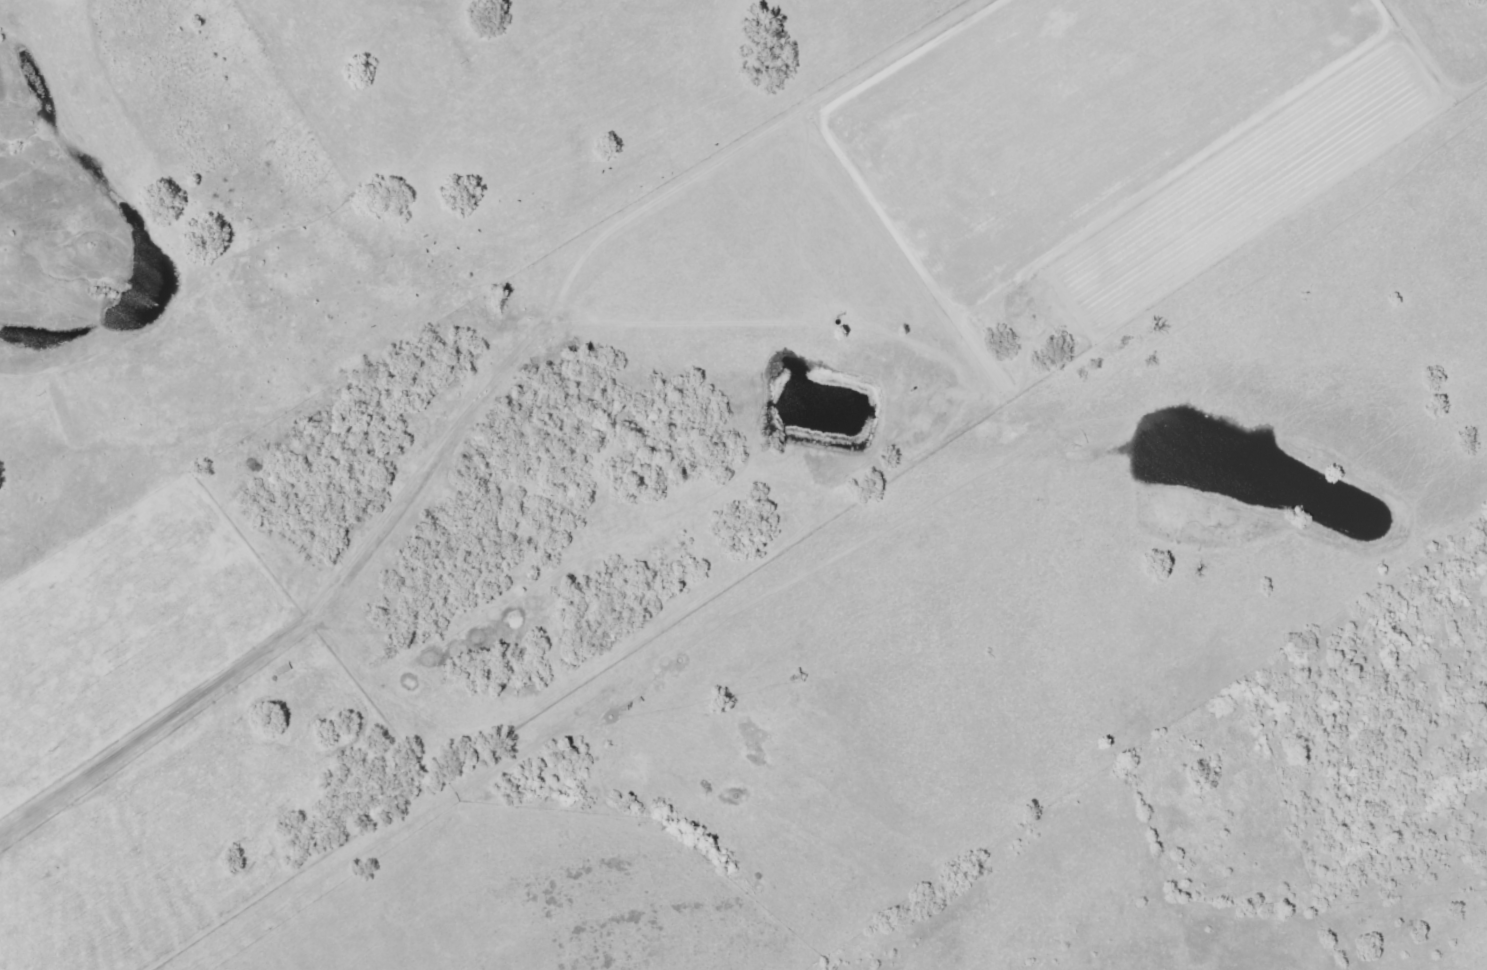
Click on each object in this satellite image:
road: (116, 246)
road: (860, 563)

